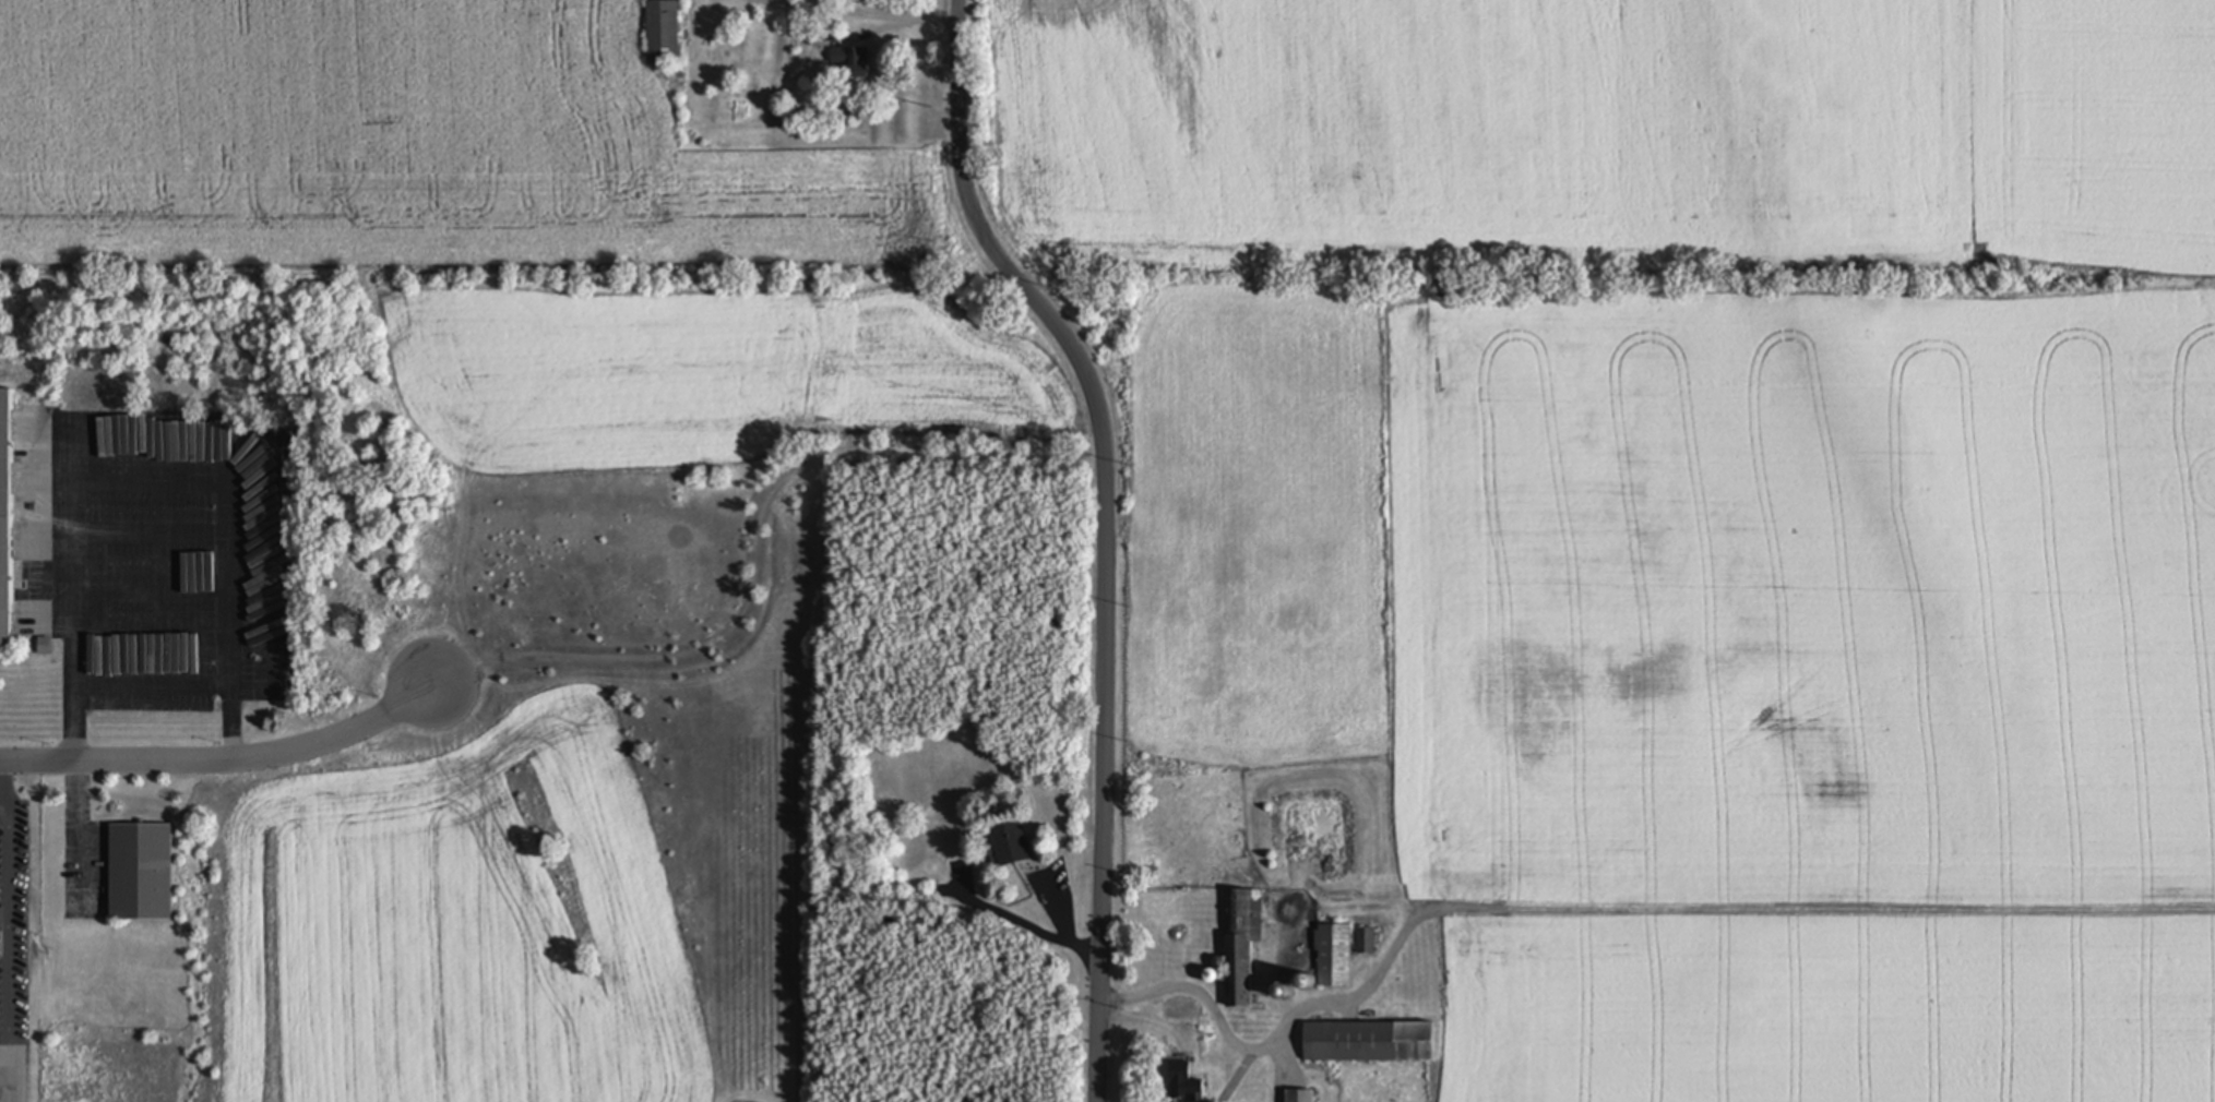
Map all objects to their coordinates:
road: (865, 14)
building: (662, 32)
building: (849, 64)
road: (957, 152)
road: (146, 438)
building: (4, 518)
road: (1107, 682)
road: (226, 758)
road: (4, 812)
road: (80, 830)
building: (1011, 845)
building: (141, 873)
road: (1701, 903)
road: (10, 939)
building: (1366, 942)
building: (1241, 944)
building: (1333, 956)
road: (1192, 985)
building: (1369, 1043)
road: (1237, 1078)
building: (1183, 1083)
building: (1300, 1097)

